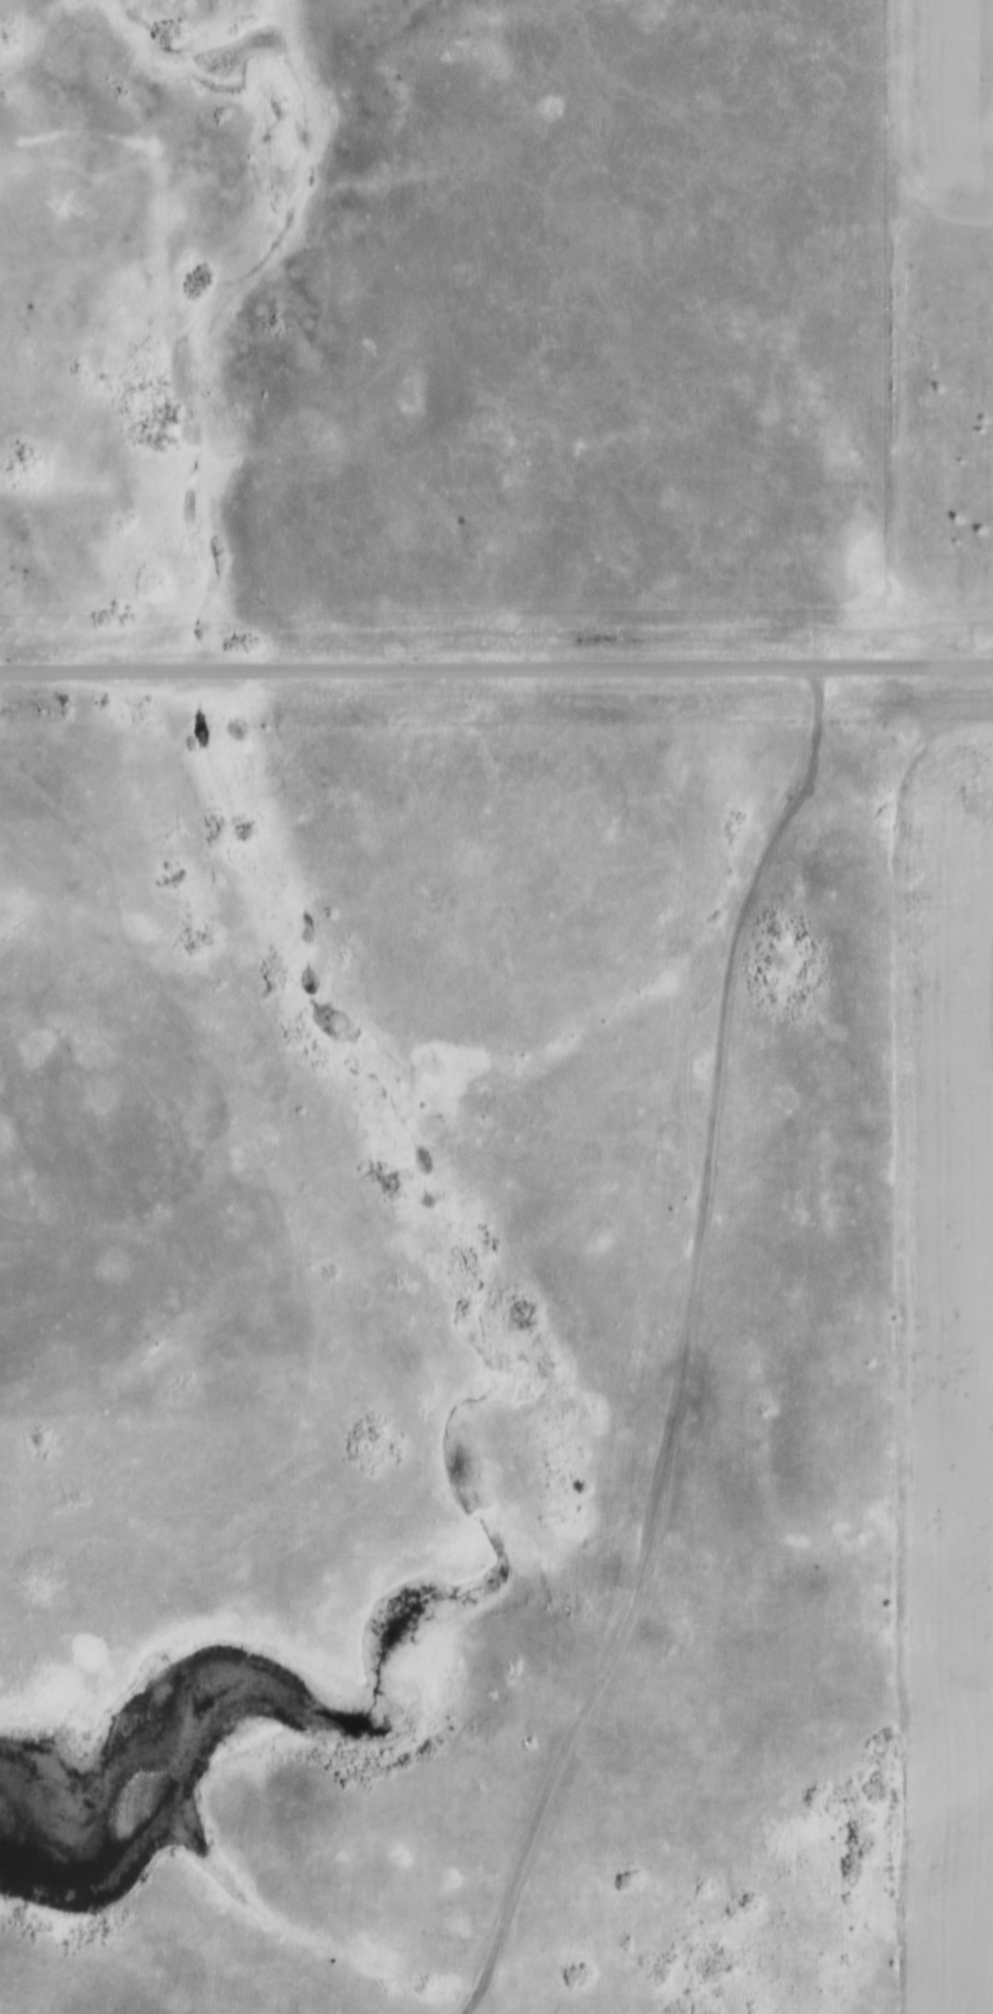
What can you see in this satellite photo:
building: (981, 322)
road: (971, 515)
road: (496, 670)
road: (685, 1351)

